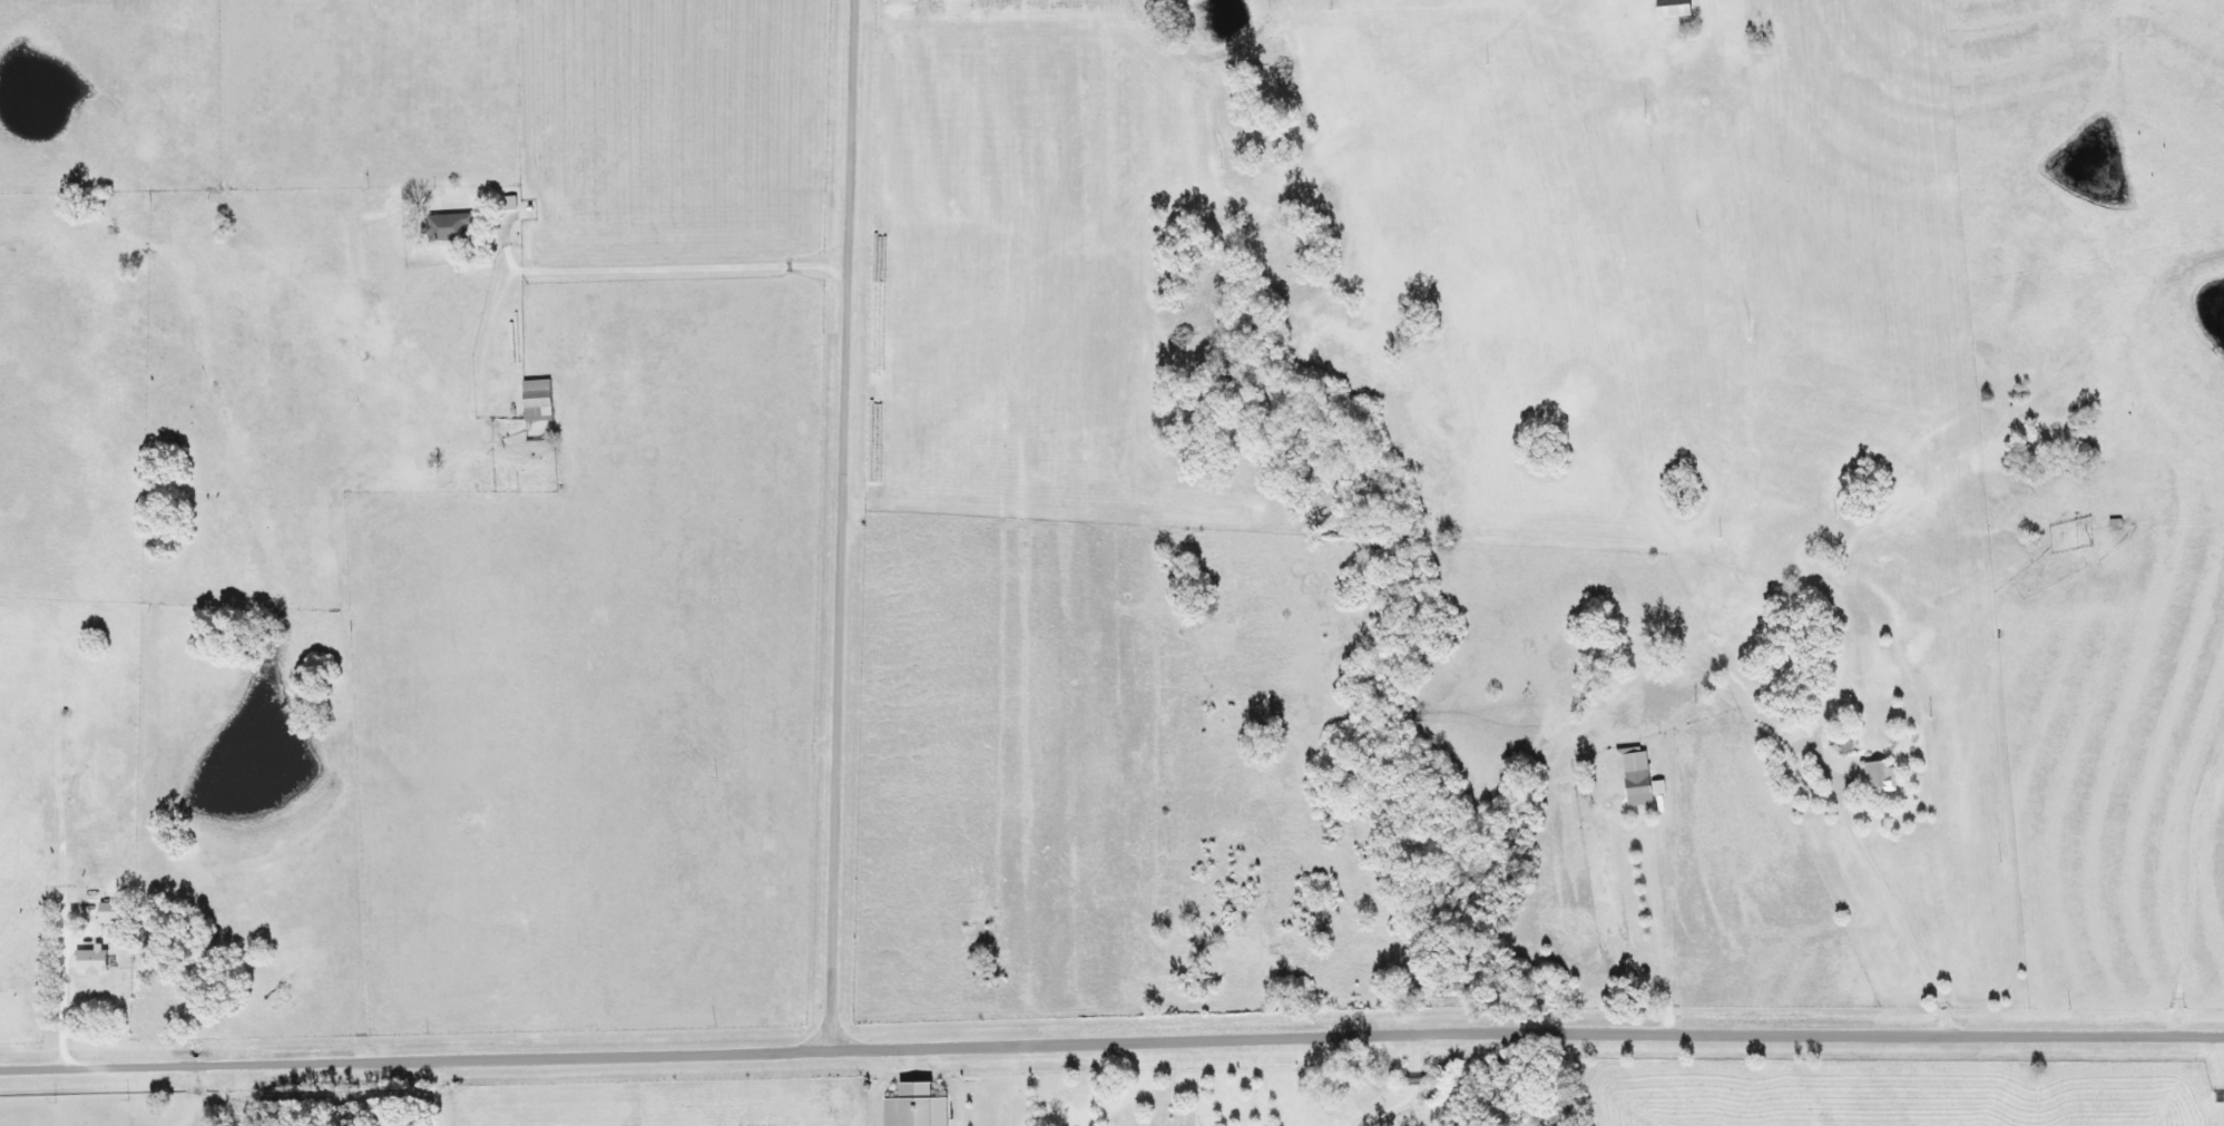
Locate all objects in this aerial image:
building: (1663, 8)
building: (453, 227)
road: (598, 270)
building: (540, 400)
road: (843, 520)
building: (1832, 742)
building: (1872, 776)
building: (1632, 786)
road: (1891, 885)
building: (118, 911)
road: (63, 952)
building: (98, 959)
road: (1111, 1037)
road: (1595, 1089)
building: (923, 1106)

